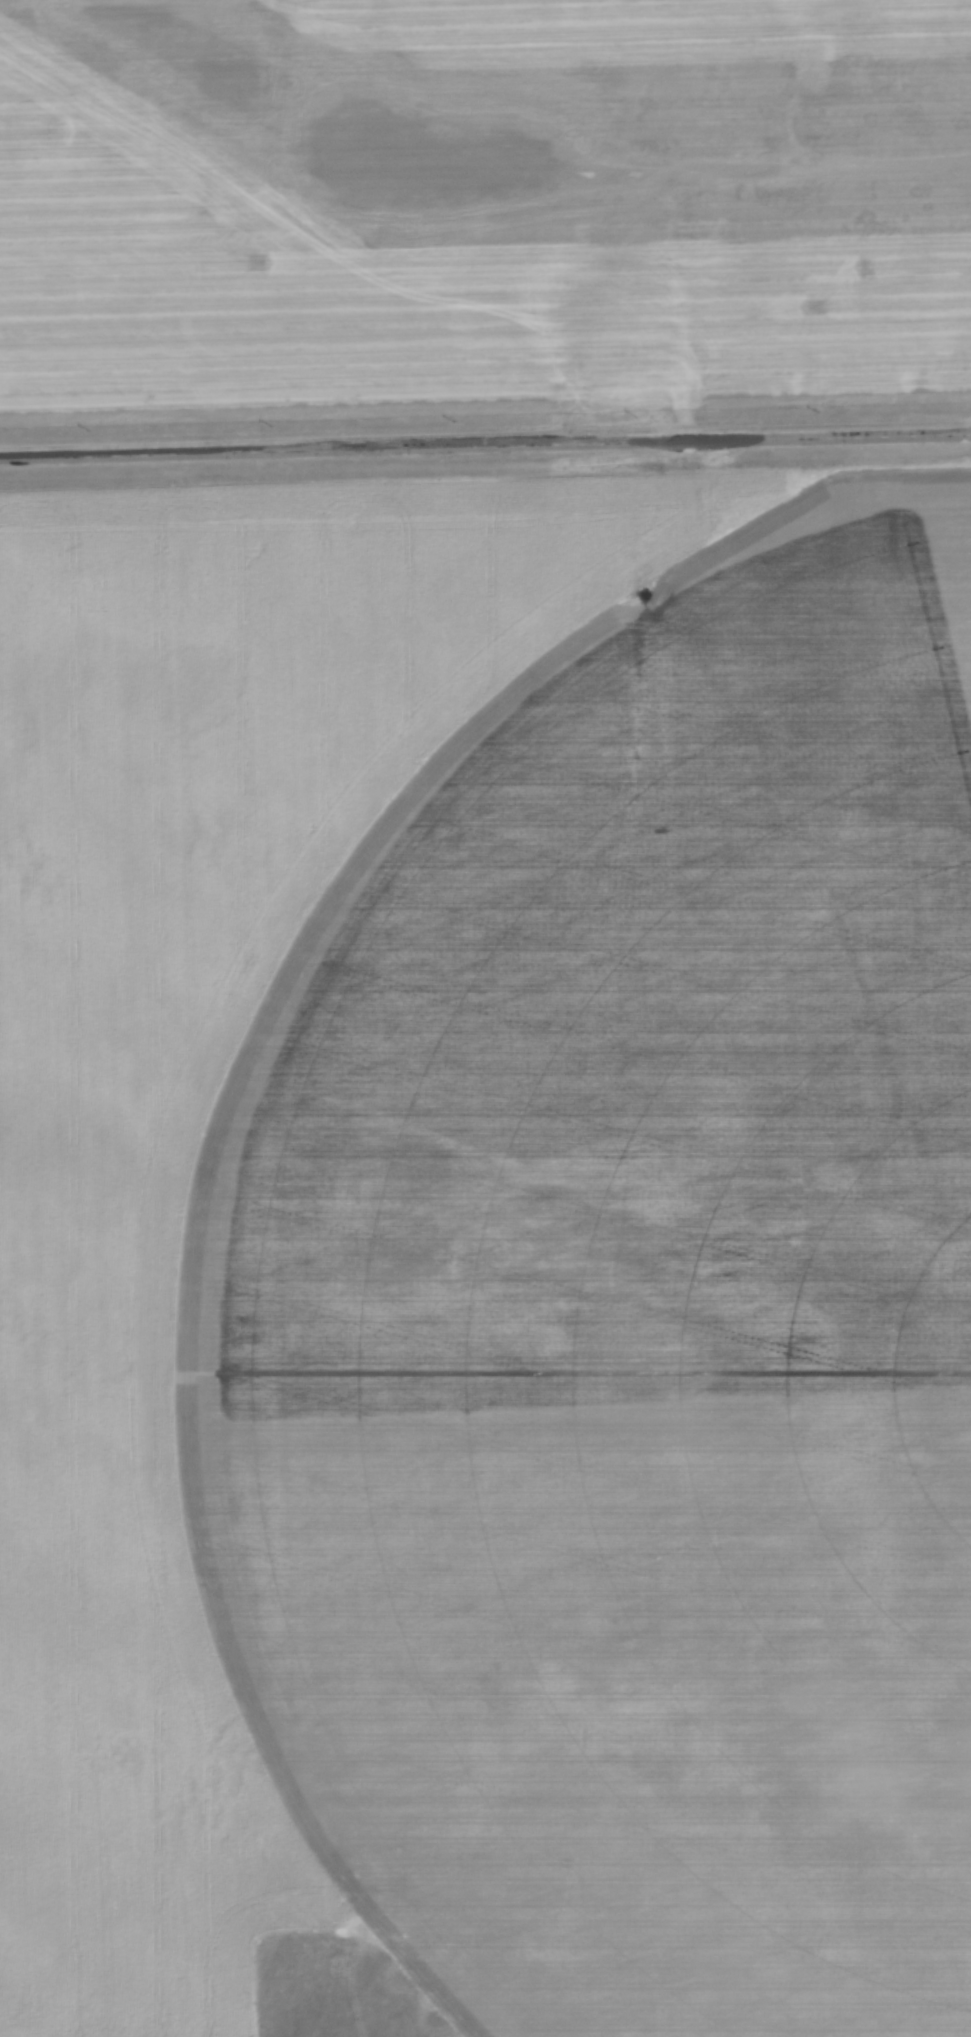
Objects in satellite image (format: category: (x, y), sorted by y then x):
road: (485, 445)

